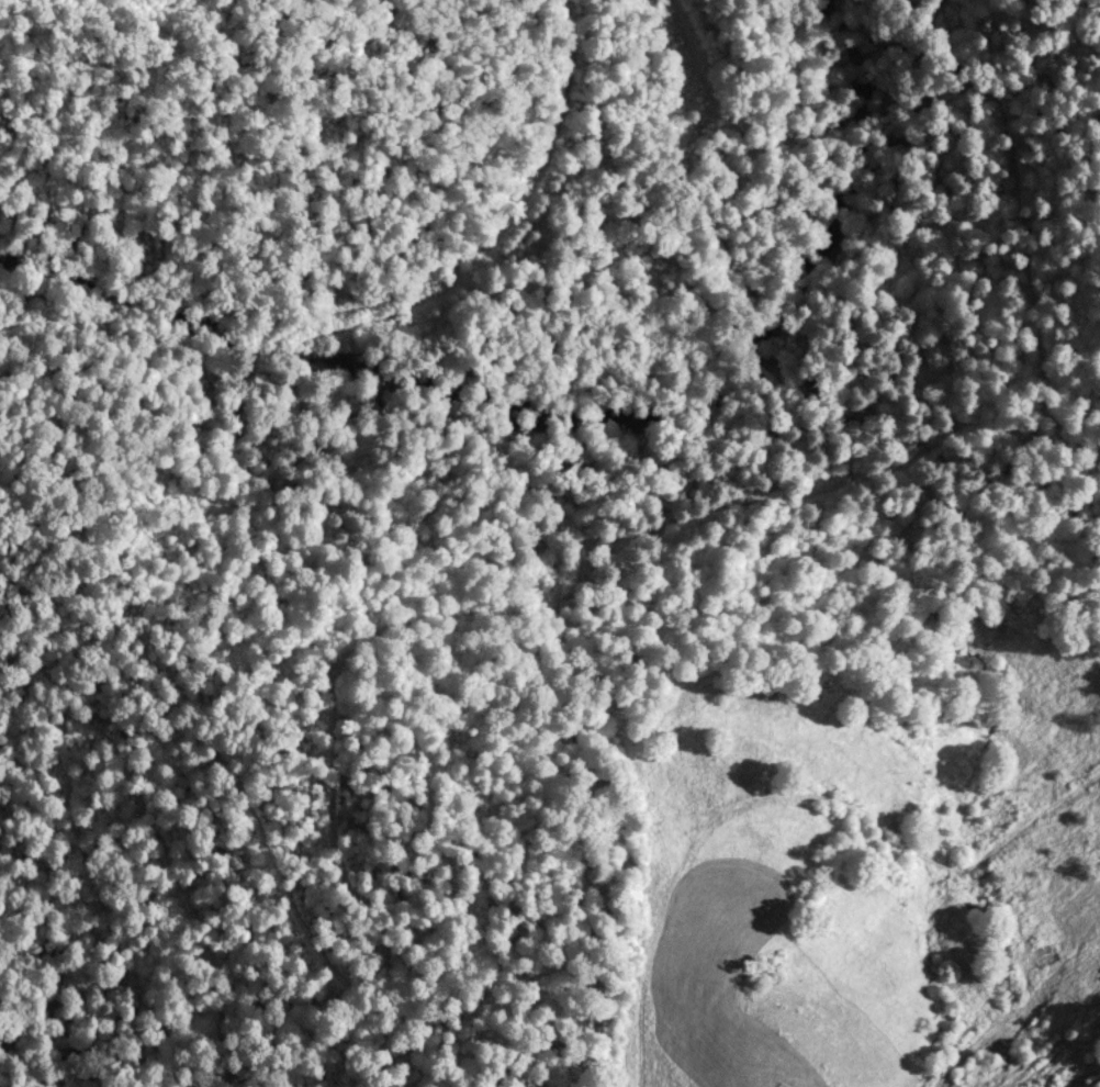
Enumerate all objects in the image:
railway: (494, 239)
railway: (209, 330)
railway: (79, 333)

